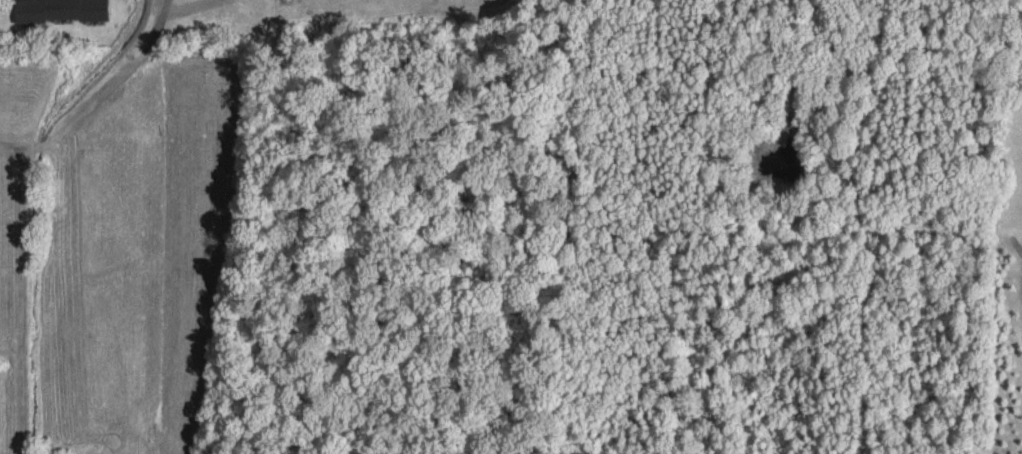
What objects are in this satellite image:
building: (63, 9)

